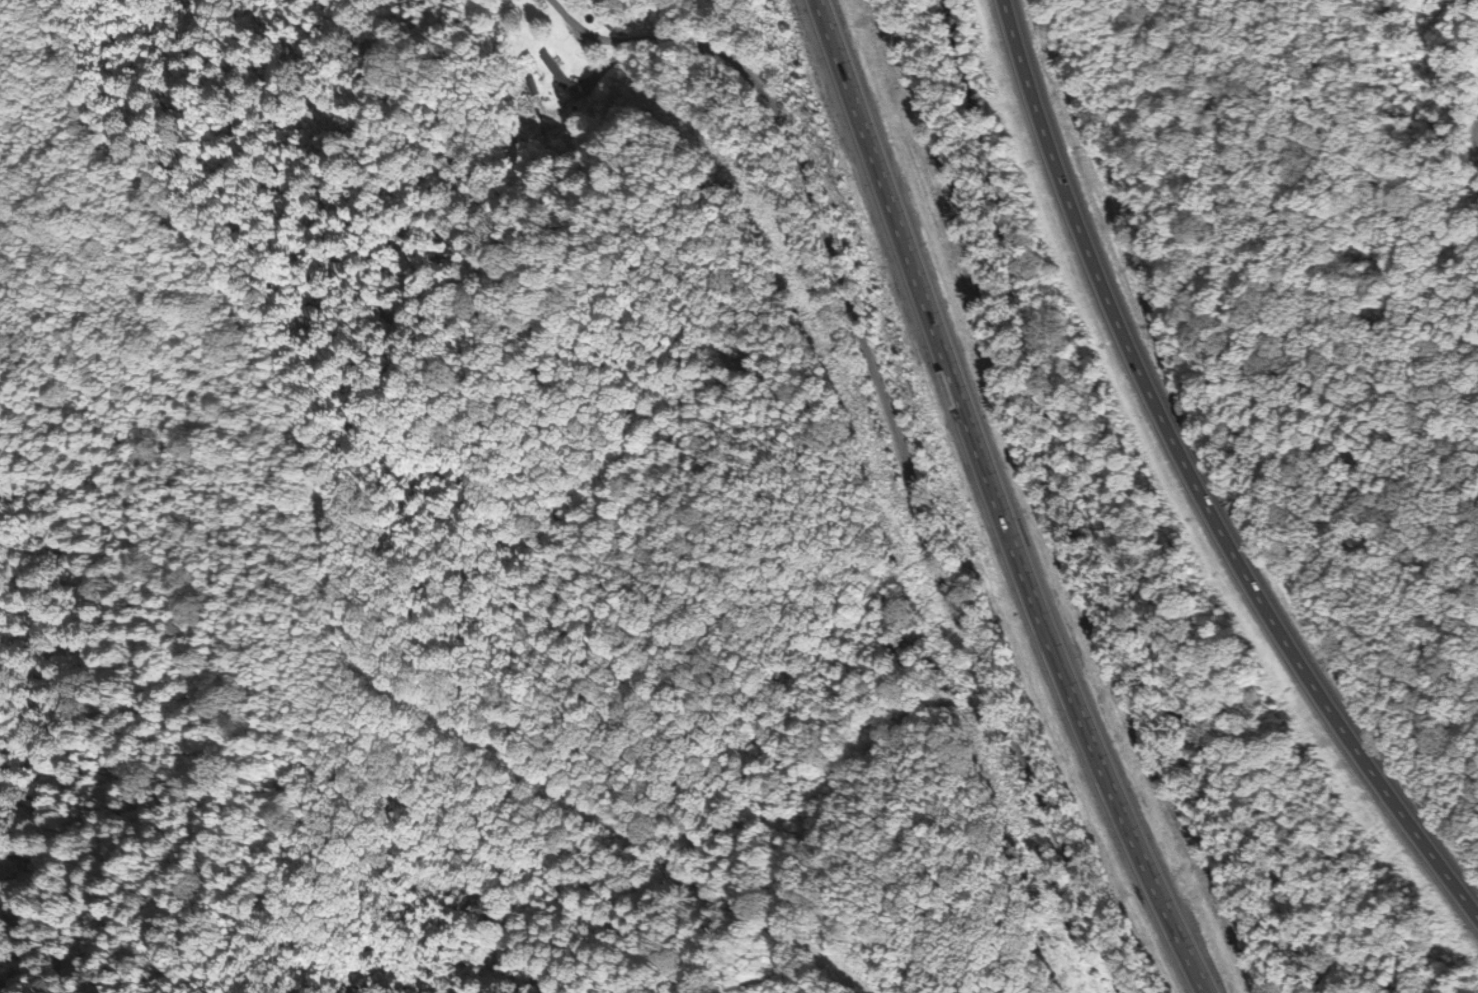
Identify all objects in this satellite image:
road: (1477, 183)
road: (897, 425)
road: (1192, 482)
road: (995, 502)
river: (1094, 511)

